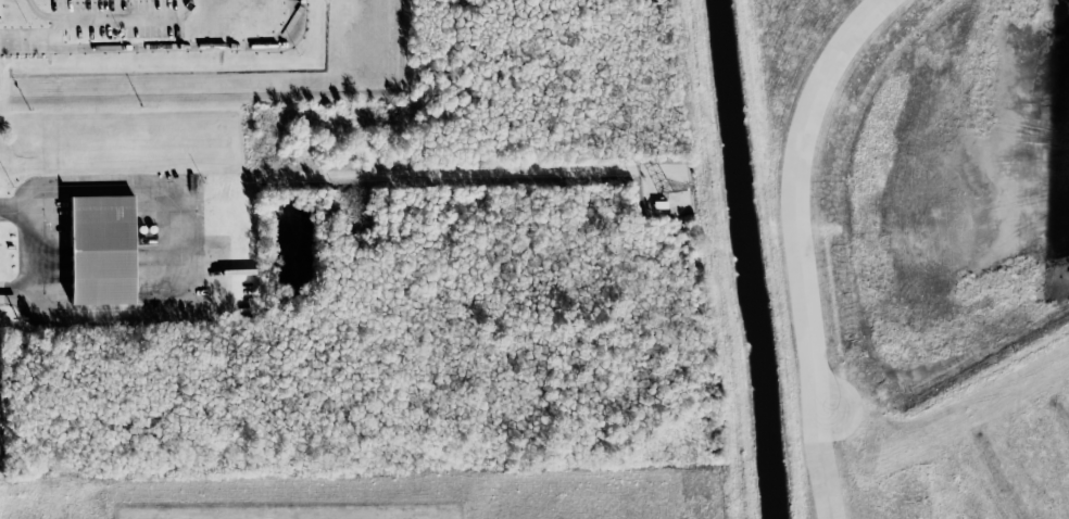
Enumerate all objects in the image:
road: (165, 47)
road: (800, 246)
road: (191, 248)
building: (103, 251)
road: (45, 253)

